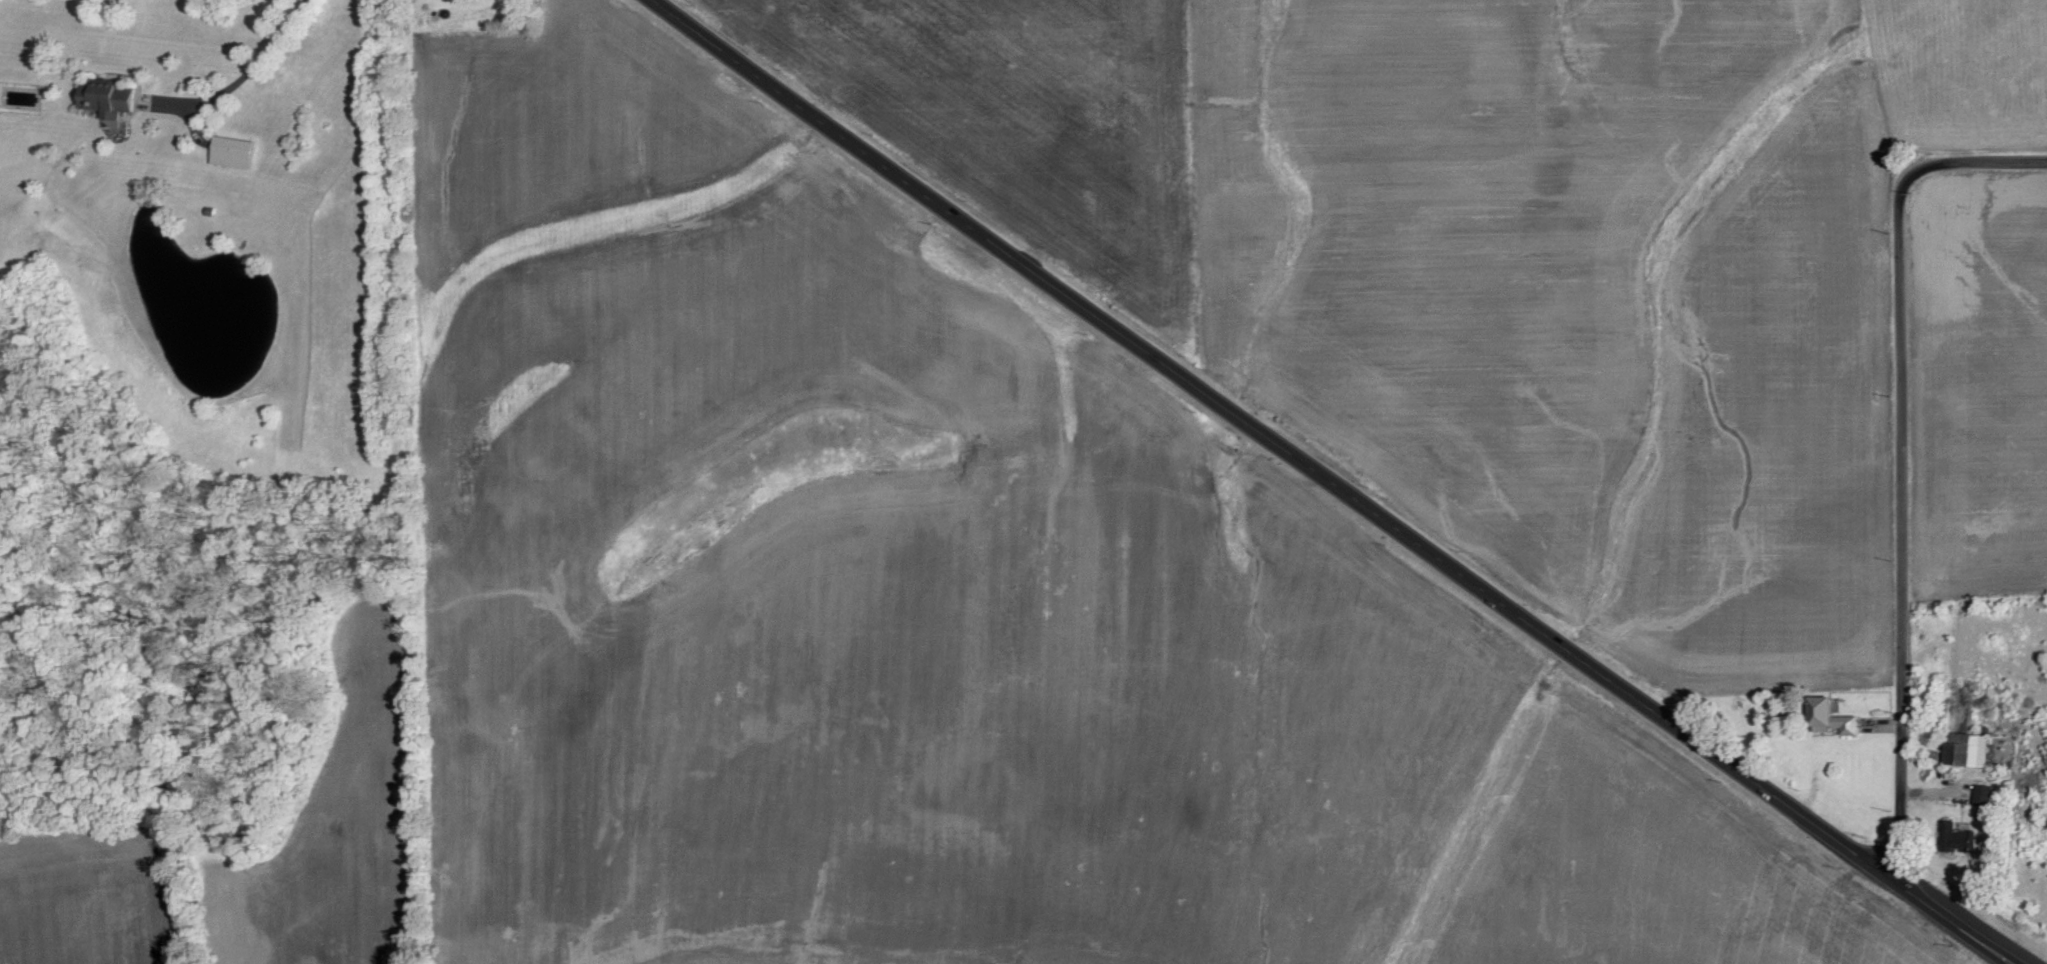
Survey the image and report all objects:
road: (252, 63)
building: (109, 99)
building: (233, 152)
road: (1901, 454)
road: (1332, 483)
building: (1832, 718)
building: (1967, 750)
building: (1984, 795)
building: (1957, 840)

